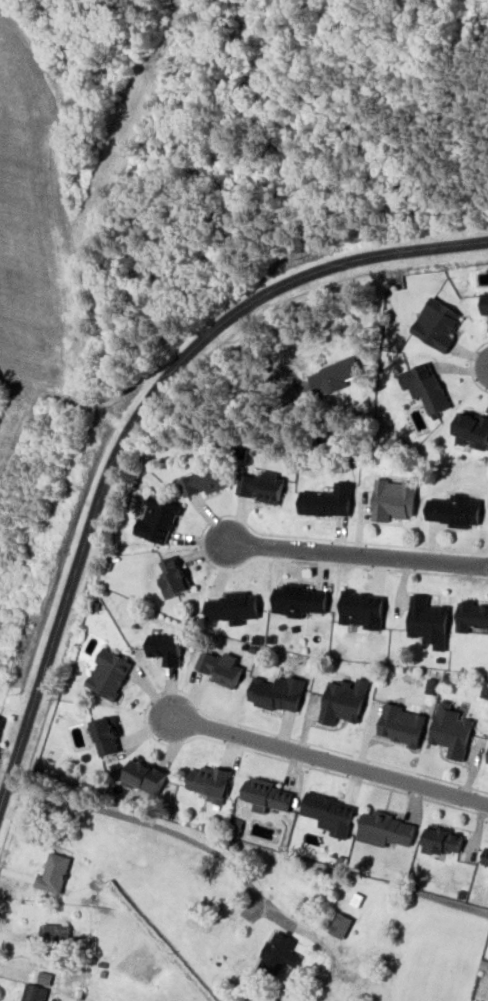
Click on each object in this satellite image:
building: (484, 303)
building: (436, 323)
building: (332, 376)
building: (425, 386)
road: (132, 416)
building: (472, 430)
building: (204, 480)
building: (261, 486)
building: (393, 499)
building: (327, 500)
building: (454, 510)
building: (157, 519)
road: (343, 552)
building: (173, 576)
building: (298, 598)
building: (233, 606)
building: (362, 609)
building: (471, 615)
building: (428, 621)
building: (166, 647)
building: (220, 667)
building: (109, 673)
building: (279, 692)
building: (343, 700)
building: (1, 721)
building: (401, 724)
building: (451, 730)
building: (106, 735)
building: (487, 761)
road: (332, 766)
building: (145, 775)
building: (210, 781)
building: (246, 789)
building: (269, 795)
building: (329, 813)
building: (385, 829)
building: (442, 840)
building: (485, 856)
building: (53, 872)
building: (54, 931)
building: (278, 953)
building: (34, 980)
building: (268, 998)

